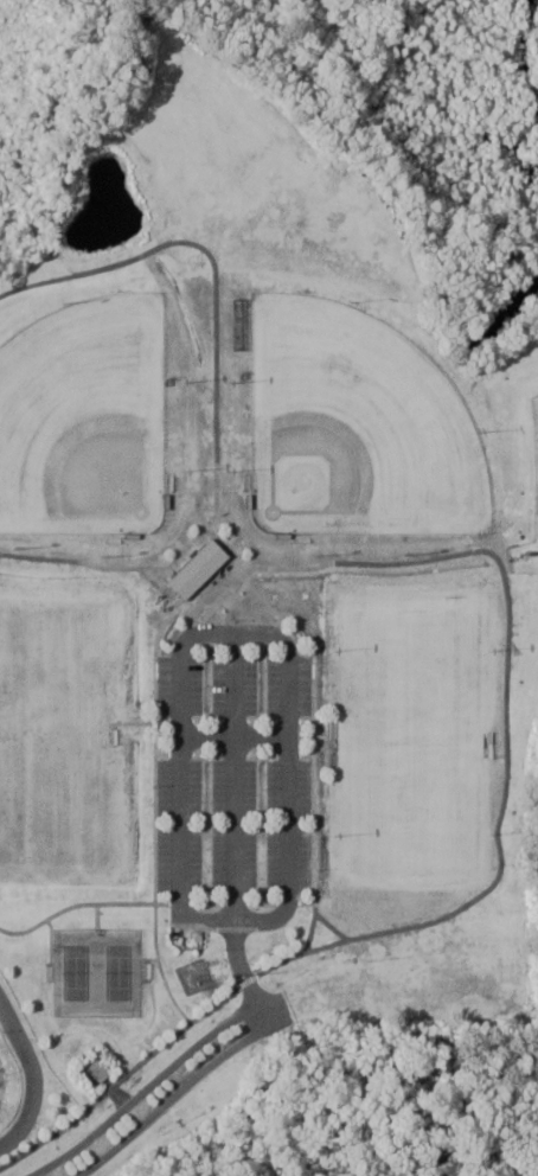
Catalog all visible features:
park: (81, 417)
park: (350, 426)
building: (203, 568)
parking lot: (235, 773)
road: (283, 775)
road: (181, 779)
road: (229, 833)
road: (457, 906)
road: (32, 1076)
road: (137, 1092)
road: (166, 1098)

